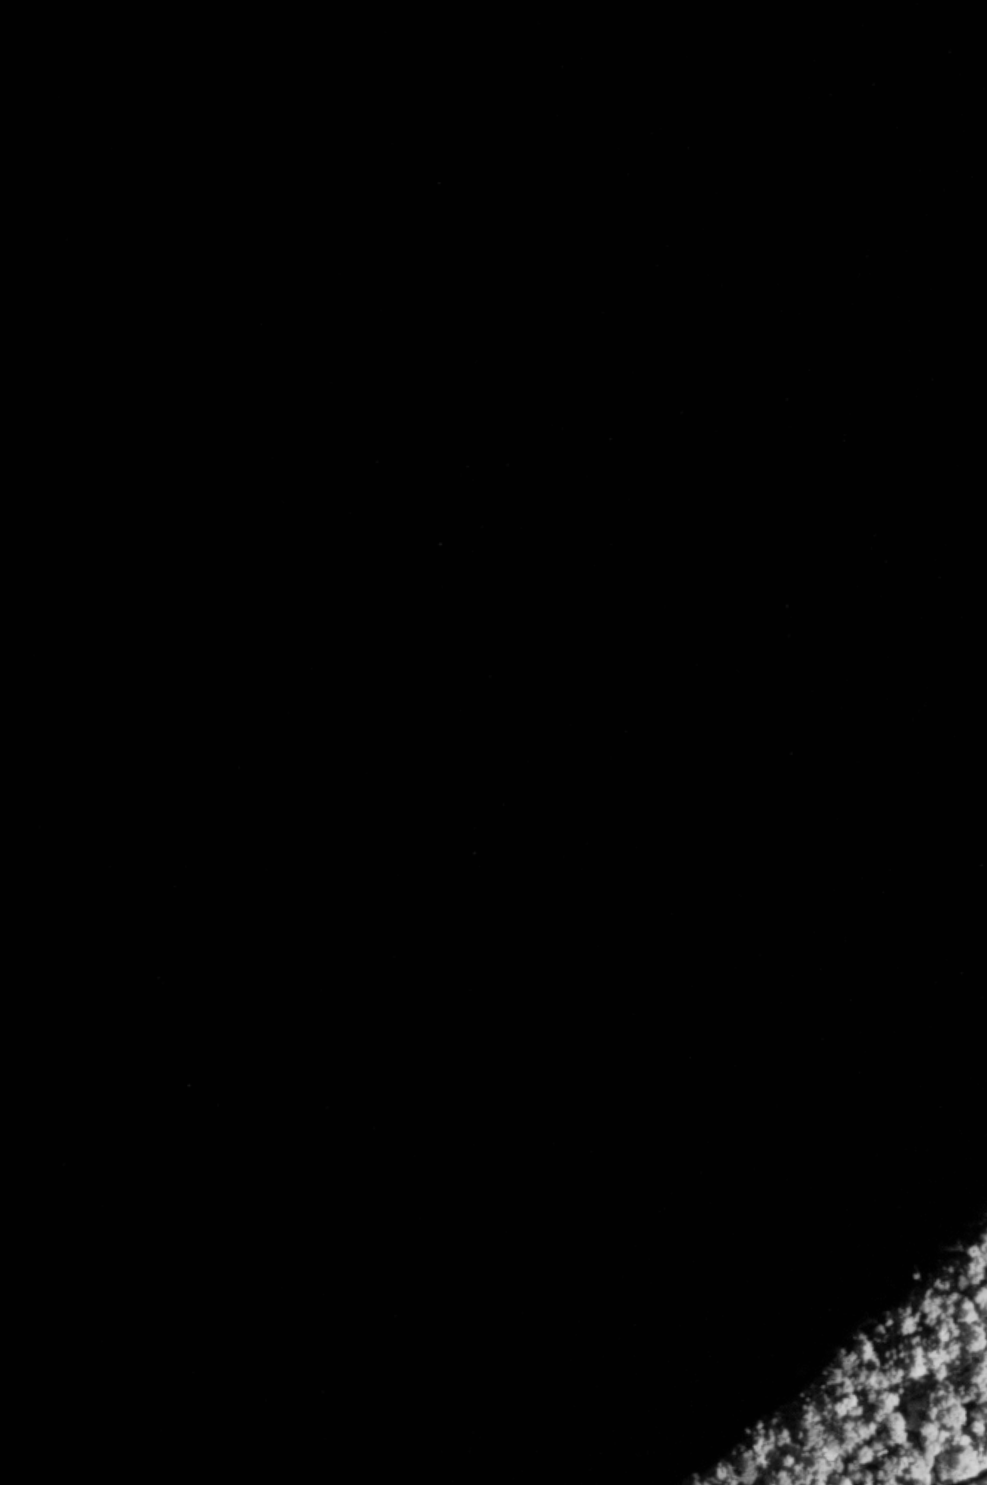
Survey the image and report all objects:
road: (975, 1477)

